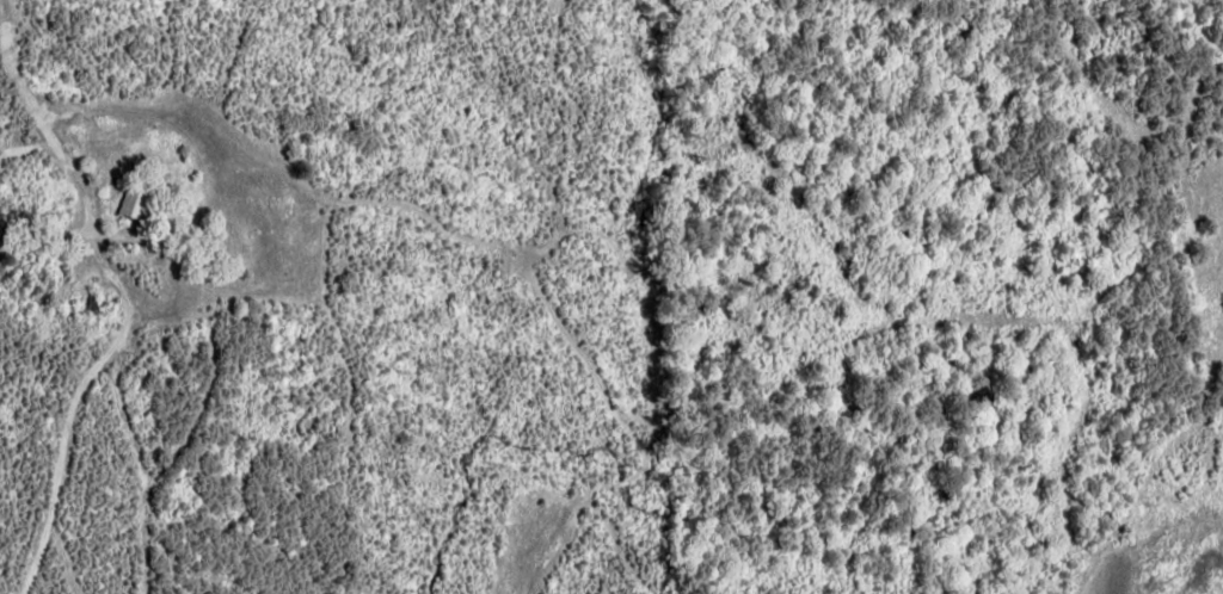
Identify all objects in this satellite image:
building: (133, 204)
road: (37, 299)

